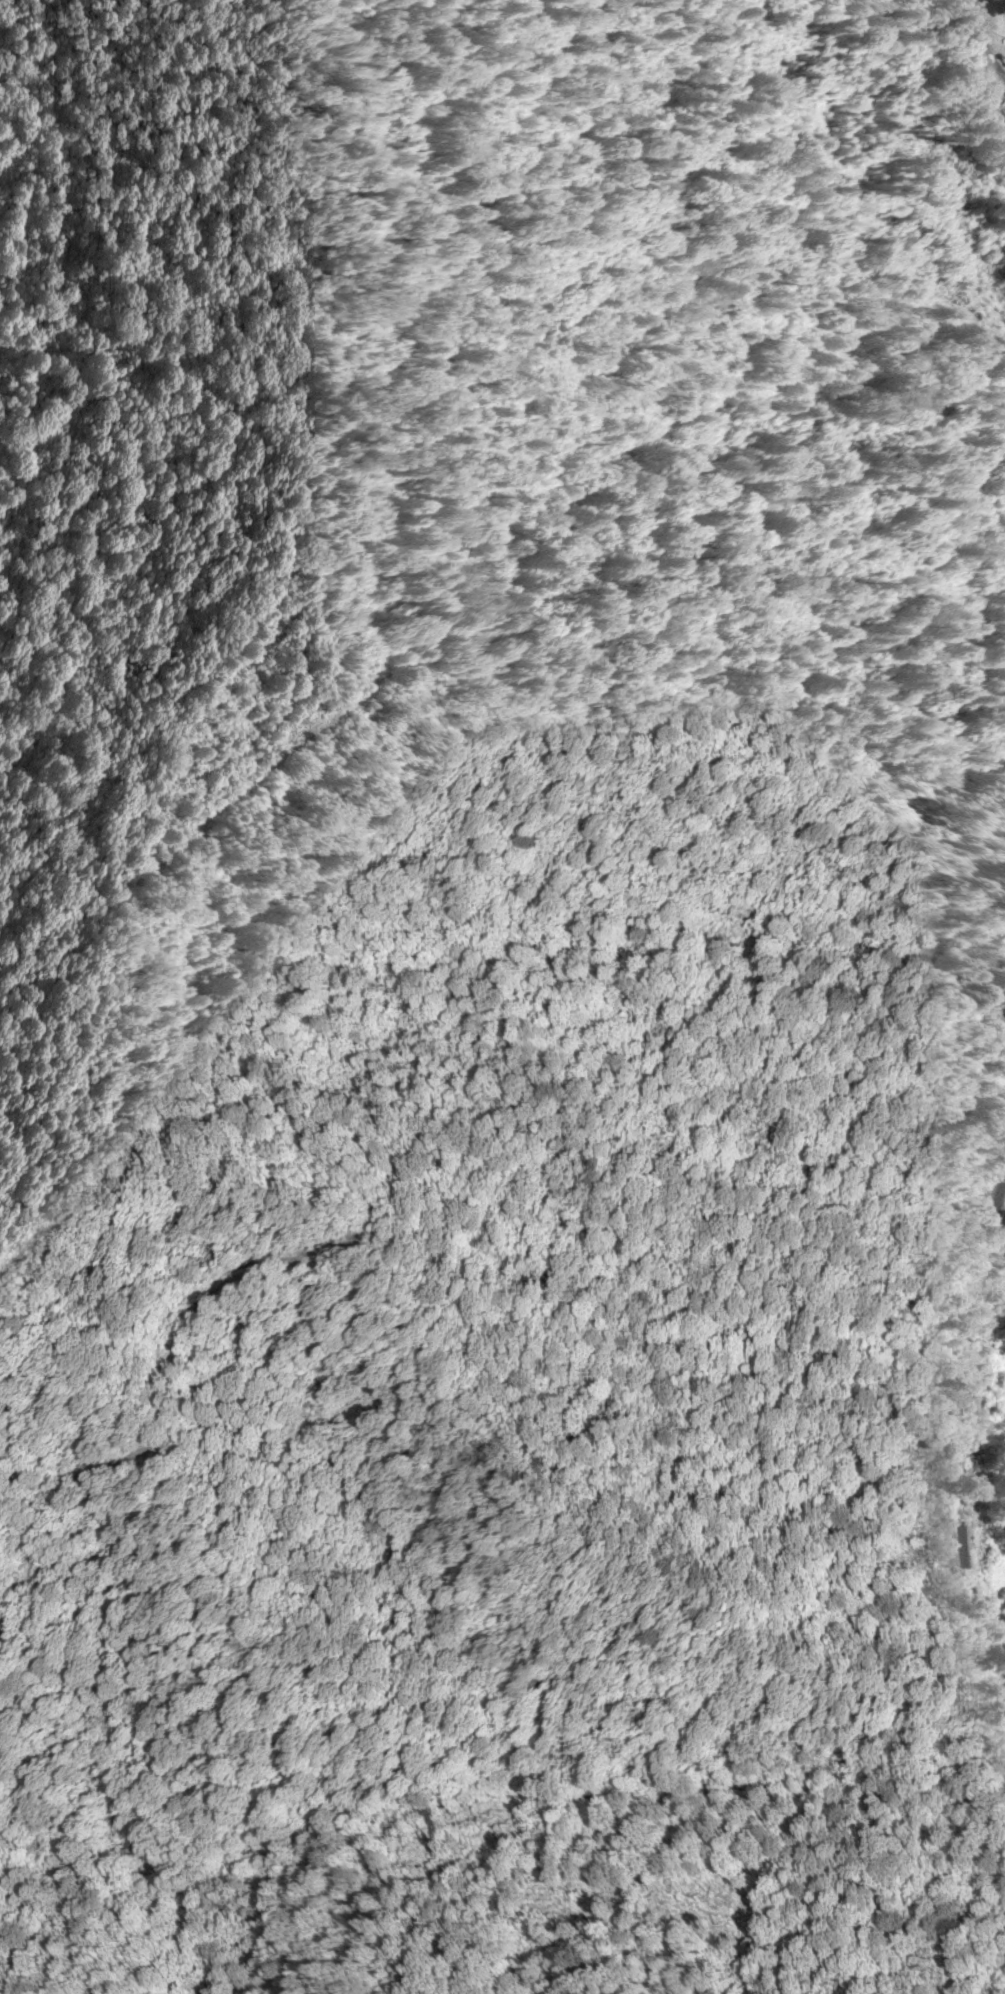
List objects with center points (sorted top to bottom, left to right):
road: (967, 91)
building: (1001, 111)
road: (912, 1417)

